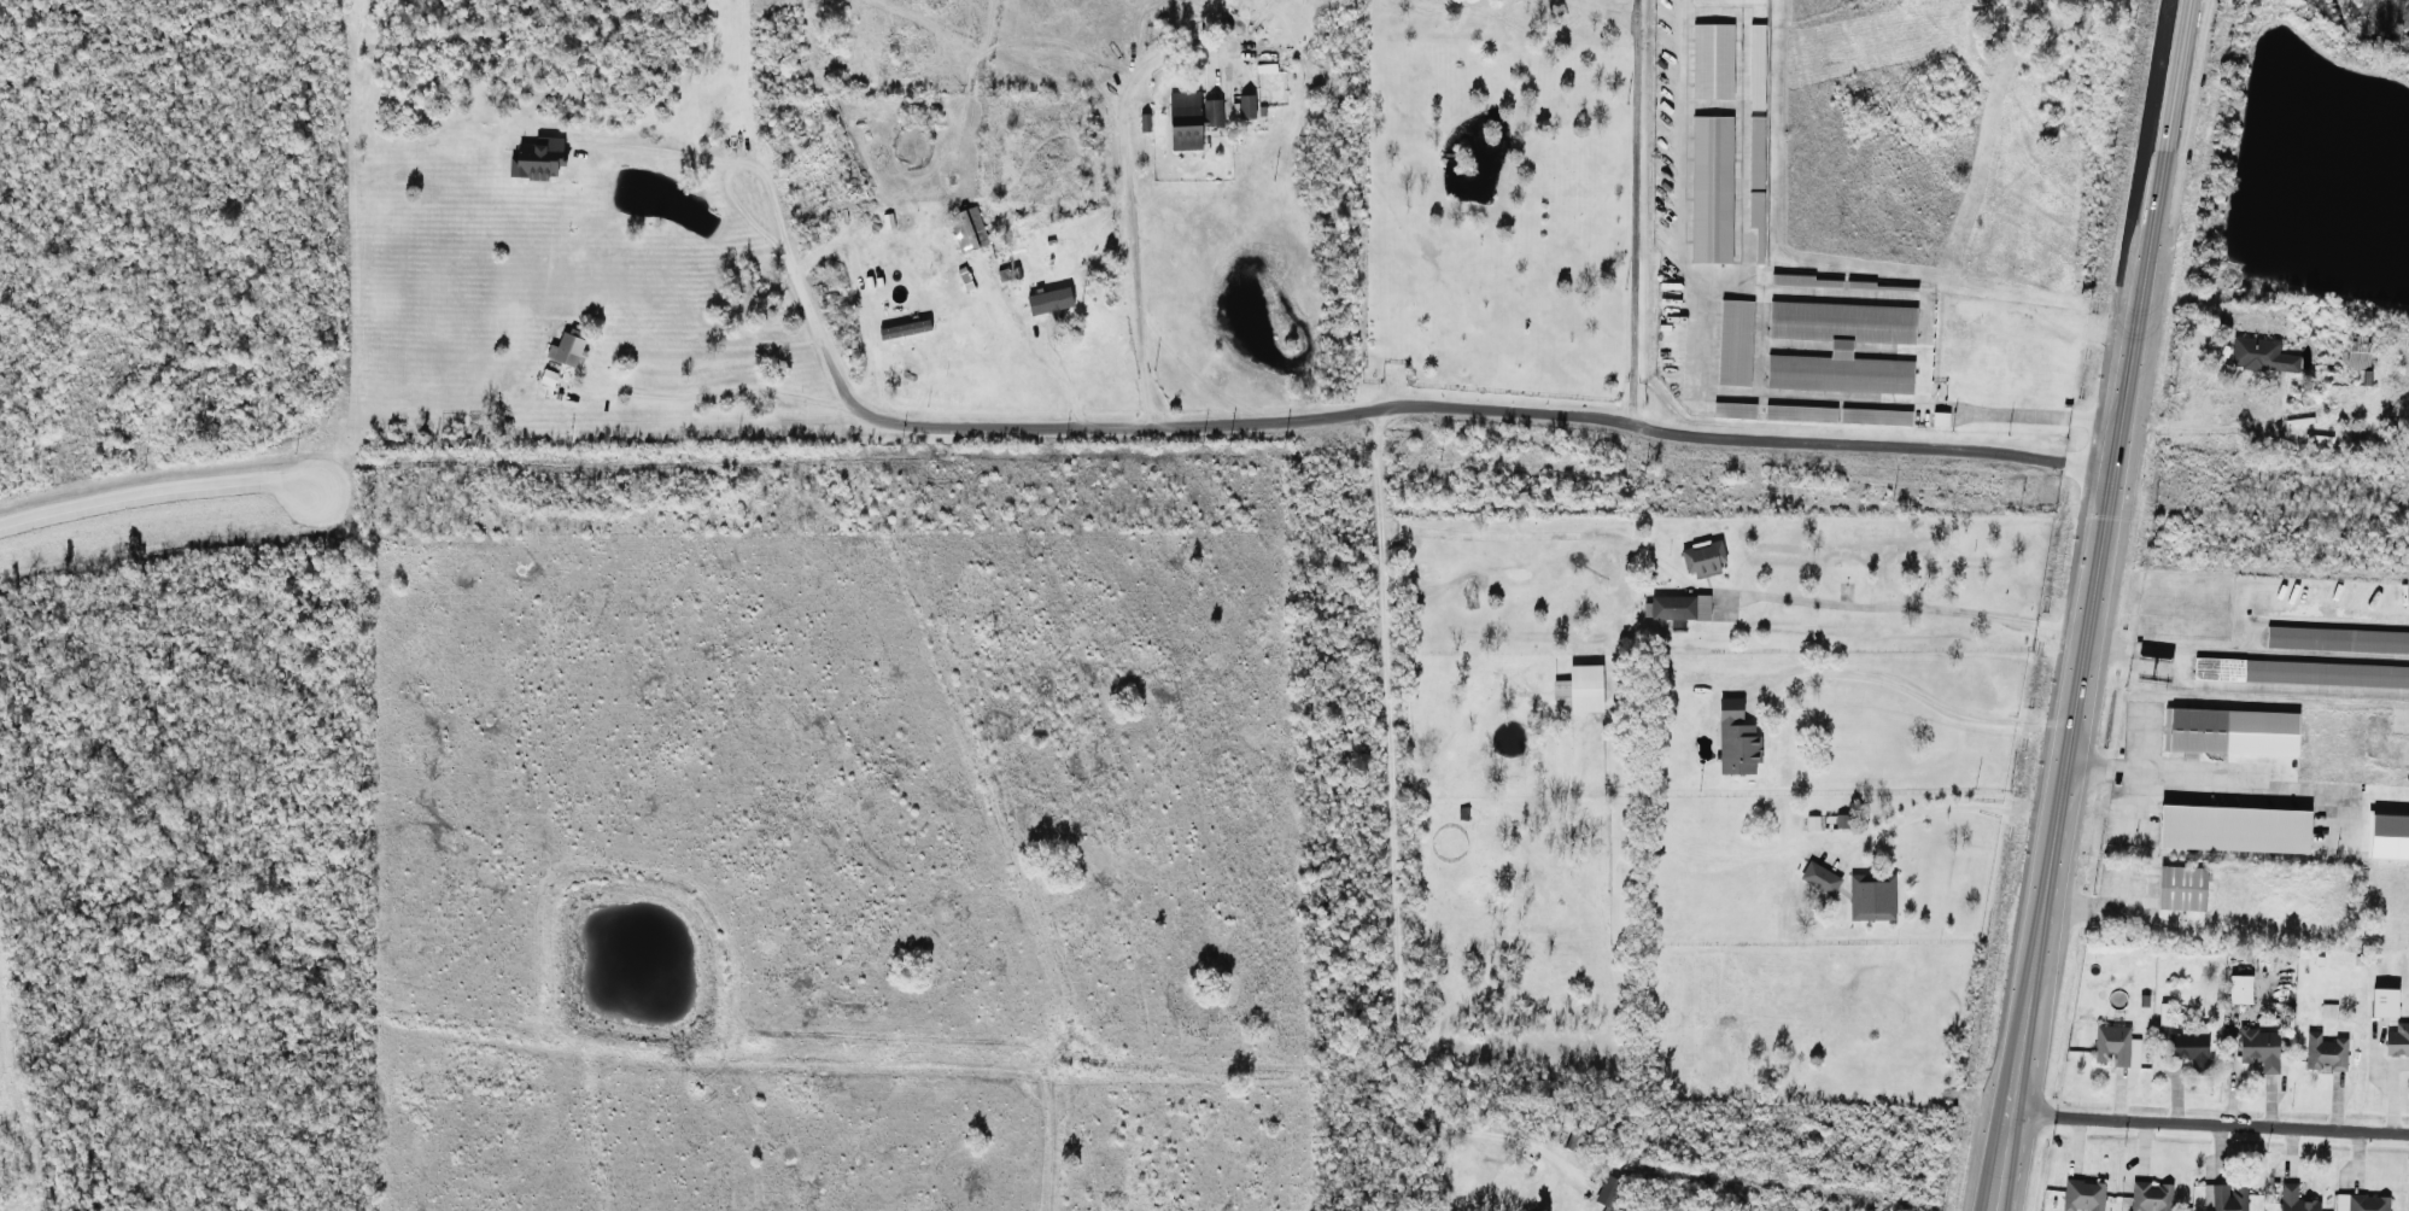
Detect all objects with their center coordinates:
building: (1712, 60)
building: (1756, 66)
building: (1244, 106)
building: (1191, 118)
building: (1144, 122)
road: (1735, 125)
building: (1755, 142)
road: (656, 150)
building: (537, 158)
road: (761, 186)
building: (1711, 188)
road: (1124, 201)
road: (1632, 211)
building: (1755, 216)
building: (967, 228)
road: (1743, 280)
building: (1806, 280)
road: (1837, 293)
building: (1048, 300)
building: (904, 328)
building: (1735, 343)
building: (1841, 346)
building: (567, 347)
building: (2357, 351)
building: (2261, 355)
building: (548, 376)
road: (720, 387)
road: (1707, 388)
building: (557, 396)
building: (568, 398)
road: (1445, 406)
building: (1733, 409)
building: (1800, 413)
building: (1876, 416)
road: (158, 491)
building: (1703, 557)
road: (1910, 605)
road: (2091, 605)
building: (1679, 608)
road: (2279, 620)
building: (2337, 639)
road: (2132, 648)
building: (2300, 672)
road: (1907, 686)
road: (2278, 686)
building: (1581, 688)
building: (2229, 731)
building: (1736, 739)
road: (2128, 765)
road: (2259, 786)
road: (1949, 805)
building: (2233, 829)
road: (1394, 837)
building: (1819, 877)
building: (2182, 888)
building: (1871, 896)
road: (2086, 901)
building: (2239, 989)
building: (2384, 1002)
building: (2327, 1011)
building: (2398, 1041)
building: (2115, 1046)
building: (2189, 1048)
building: (2258, 1048)
building: (2325, 1052)
road: (2206, 1127)
building: (2082, 1195)
building: (2150, 1195)
building: (2224, 1197)
building: (2294, 1199)
building: (2361, 1203)

